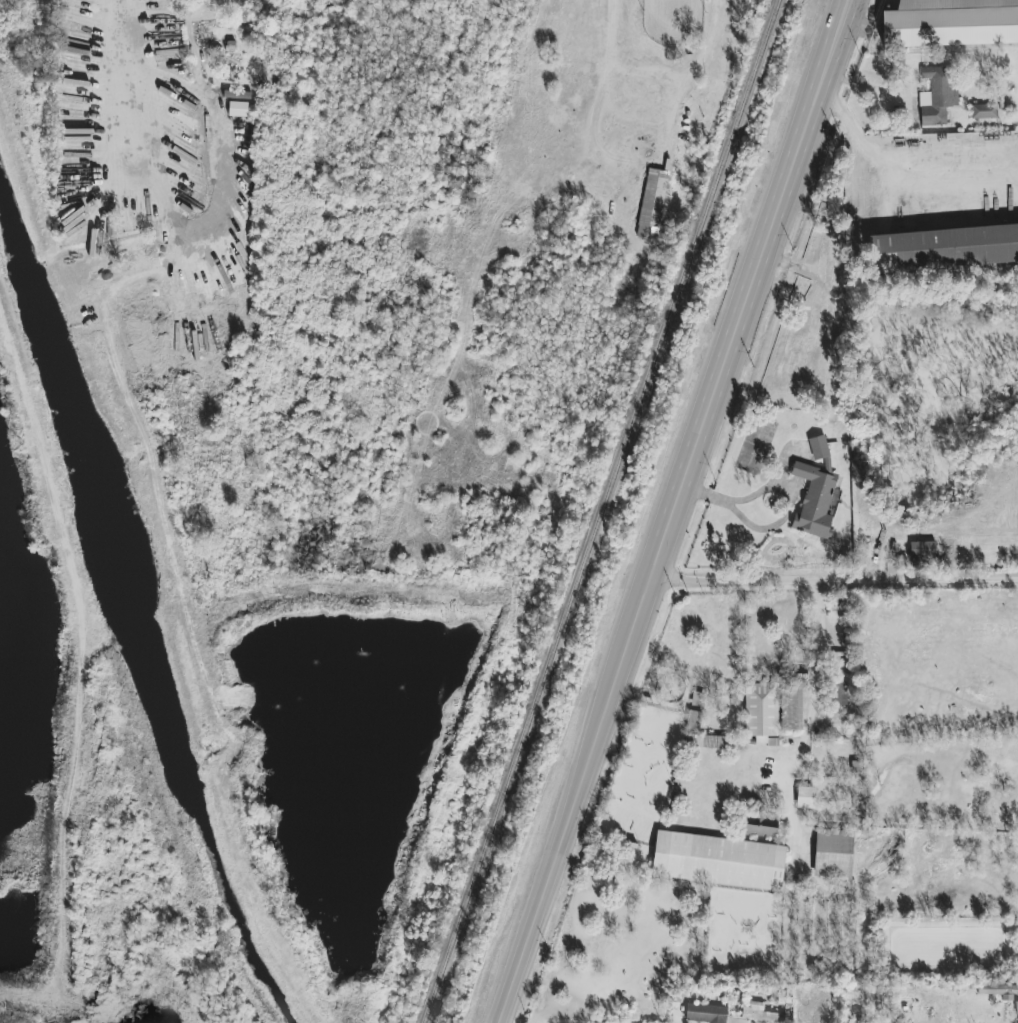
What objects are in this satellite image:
building: (952, 22)
road: (613, 26)
road: (684, 76)
road: (131, 89)
building: (939, 94)
building: (238, 109)
building: (985, 111)
road: (907, 164)
building: (654, 200)
building: (946, 247)
road: (785, 491)
building: (816, 492)
railway: (601, 511)
road: (682, 512)
building: (923, 549)
road: (834, 583)
road: (820, 647)
building: (840, 693)
building: (792, 708)
building: (761, 711)
building: (694, 720)
building: (714, 743)
building: (806, 797)
building: (834, 853)
building: (719, 861)
building: (997, 989)
building: (862, 995)
building: (757, 1012)
building: (706, 1013)

